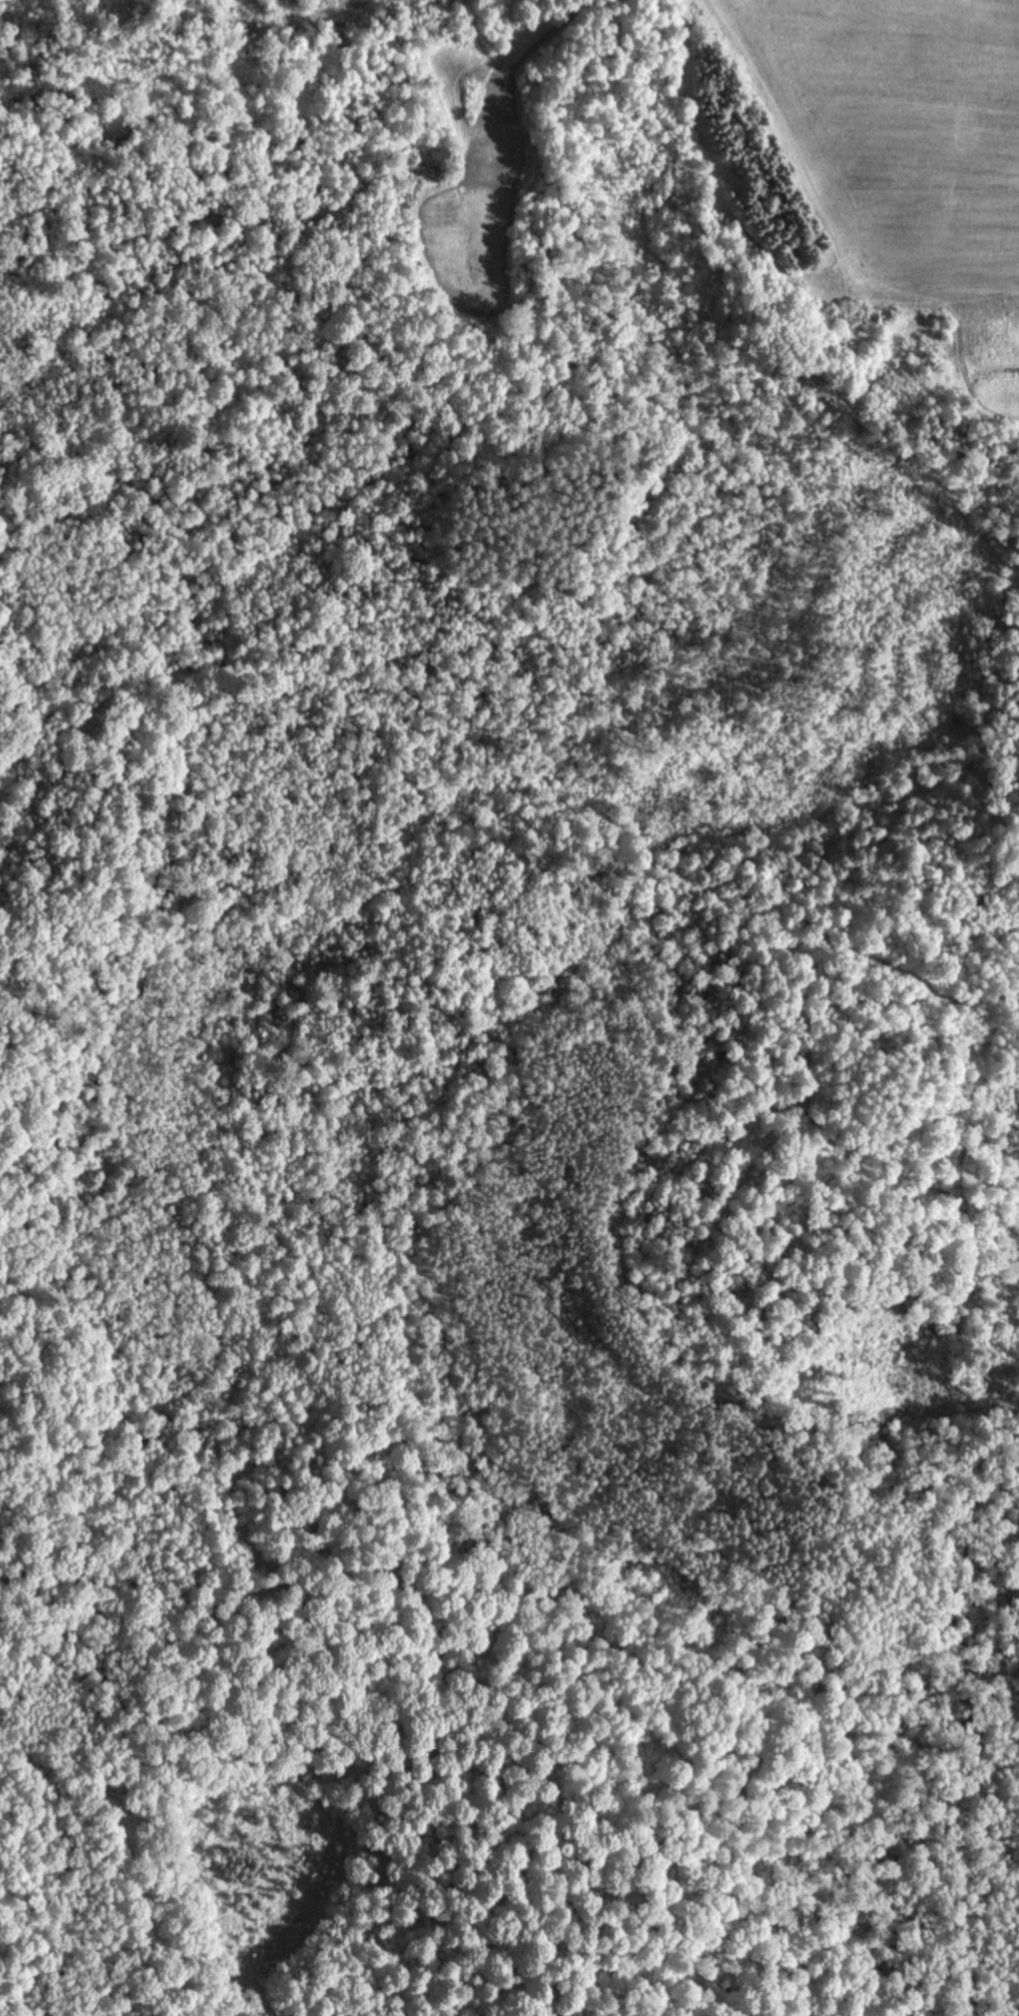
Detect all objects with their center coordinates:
road: (382, 1698)

